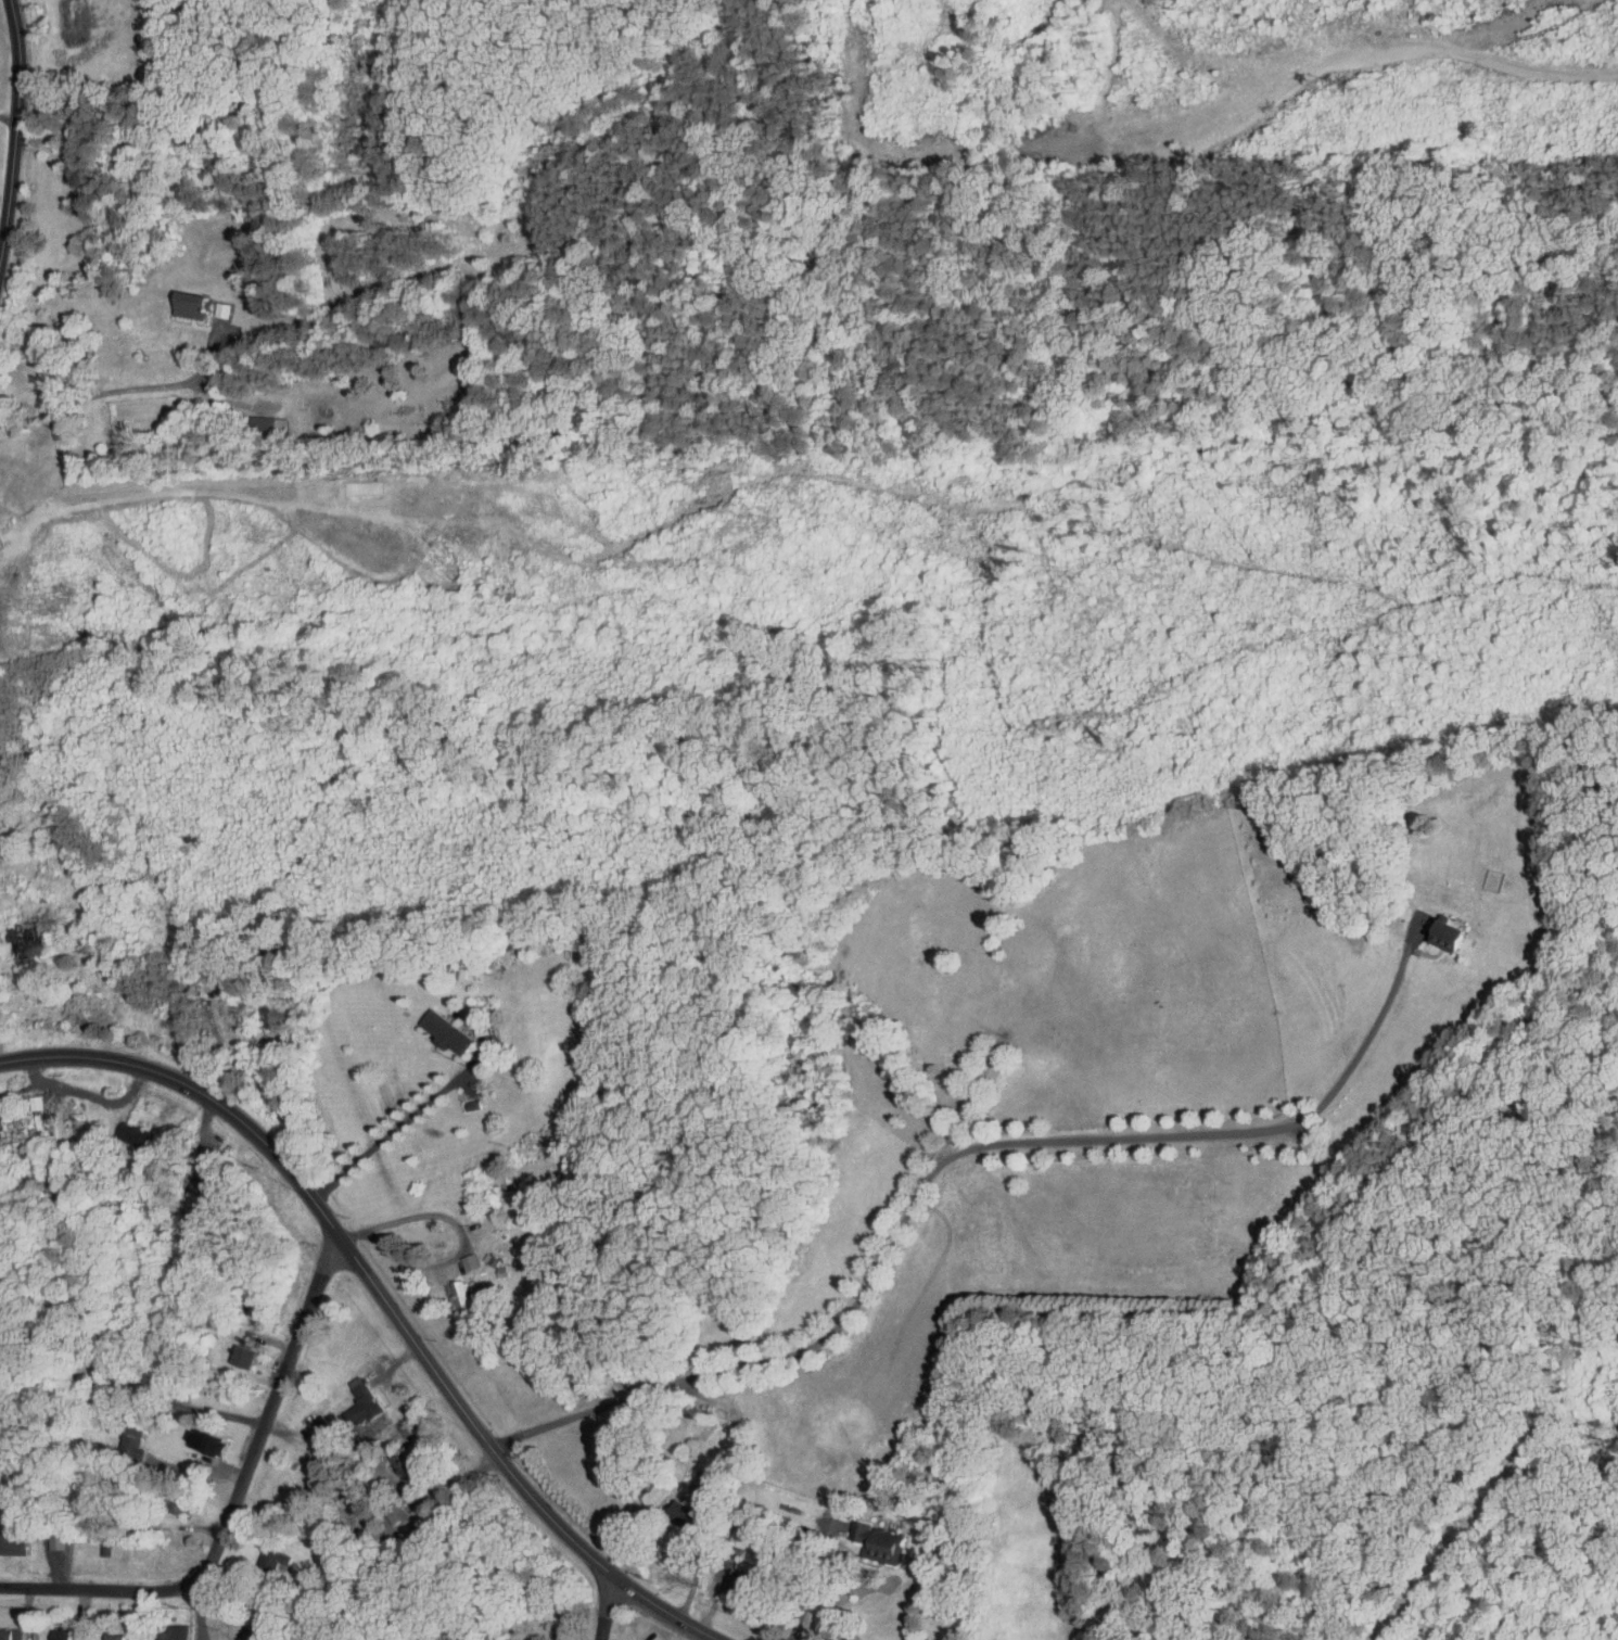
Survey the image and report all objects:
road: (14, 124)
building: (186, 298)
building: (214, 303)
road: (117, 391)
building: (265, 419)
building: (51, 422)
building: (1440, 929)
building: (437, 1027)
building: (25, 1096)
road: (395, 1130)
building: (126, 1131)
road: (935, 1164)
road: (447, 1225)
building: (457, 1287)
road: (378, 1305)
building: (233, 1350)
building: (353, 1386)
road: (213, 1413)
building: (122, 1433)
building: (194, 1436)
building: (402, 1463)
road: (233, 1508)
building: (677, 1508)
building: (870, 1536)
building: (8, 1537)
building: (46, 1537)
road: (1456, 1544)
building: (263, 1553)
road: (702, 1558)
road: (811, 1574)
road: (607, 1611)
road: (199, 1612)
building: (163, 1630)
building: (4, 1631)
building: (51, 1631)
building: (104, 1631)
building: (241, 1631)

